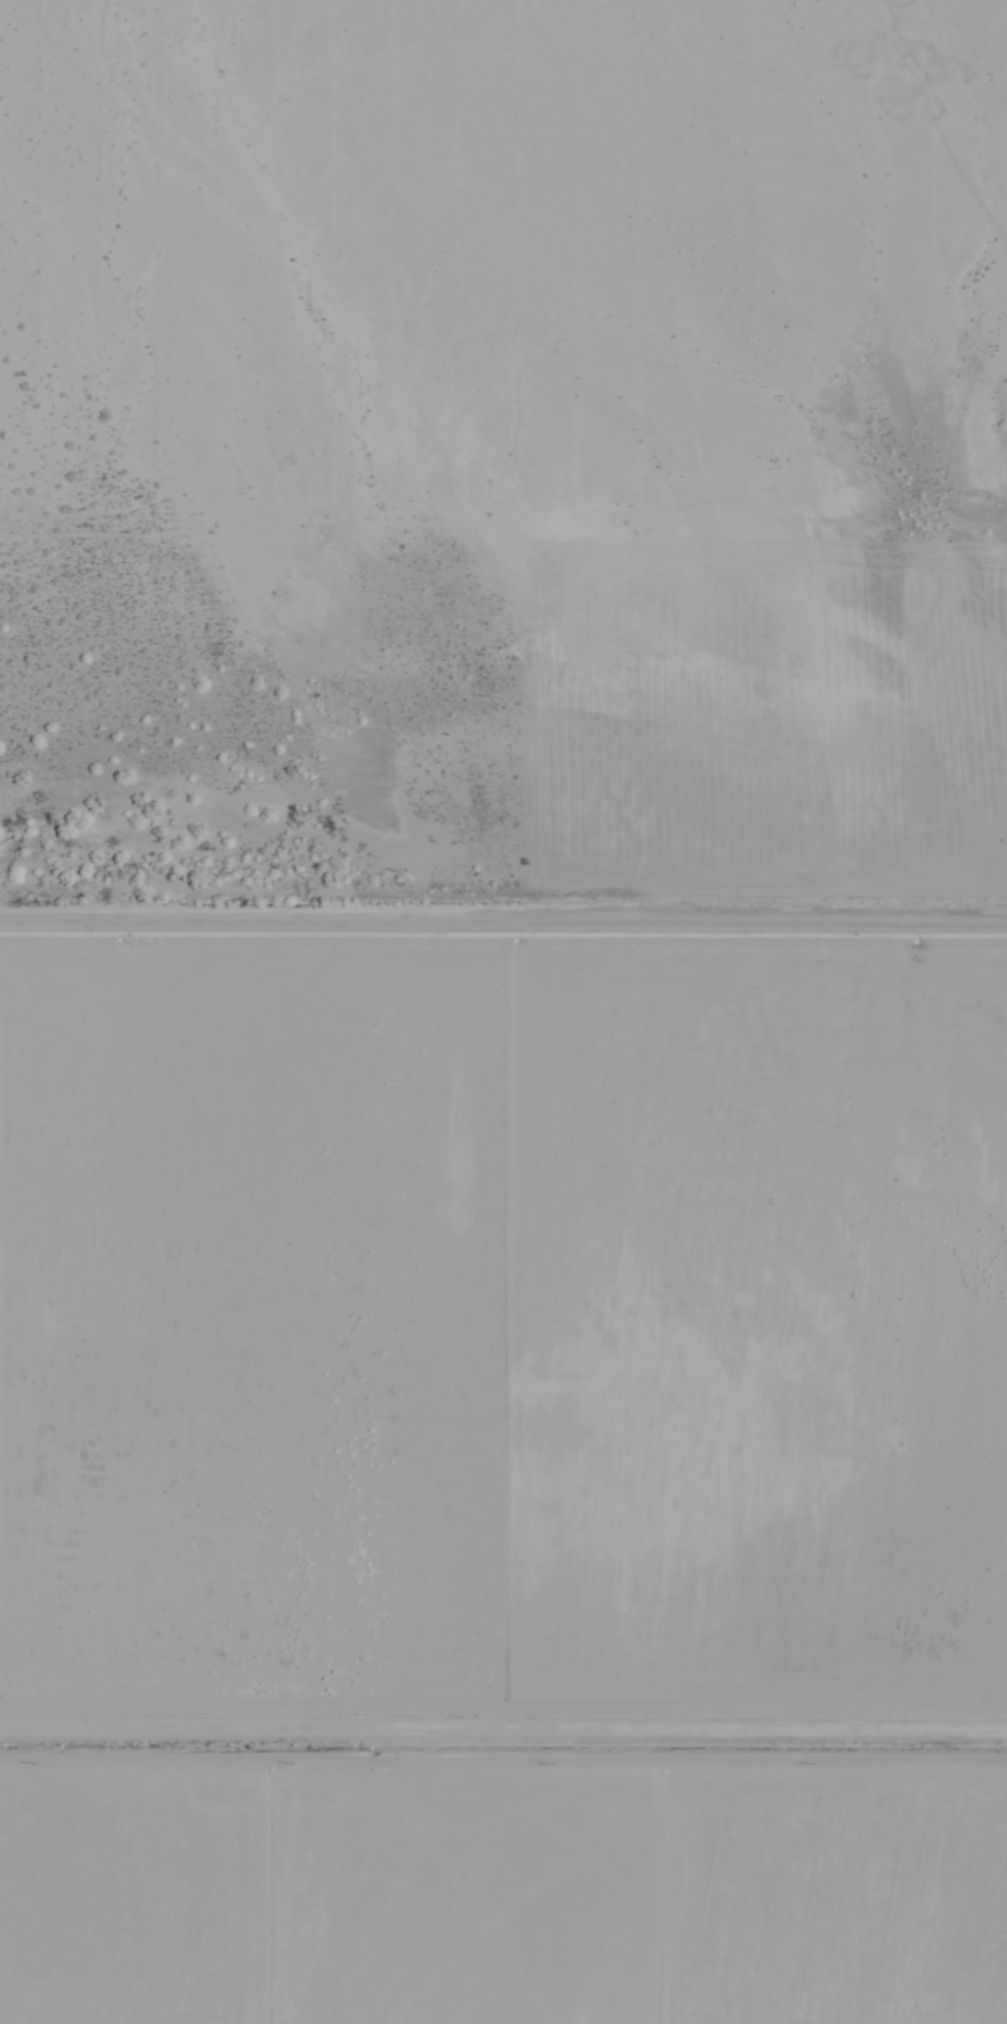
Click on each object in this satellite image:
crop: (503, 1470)

